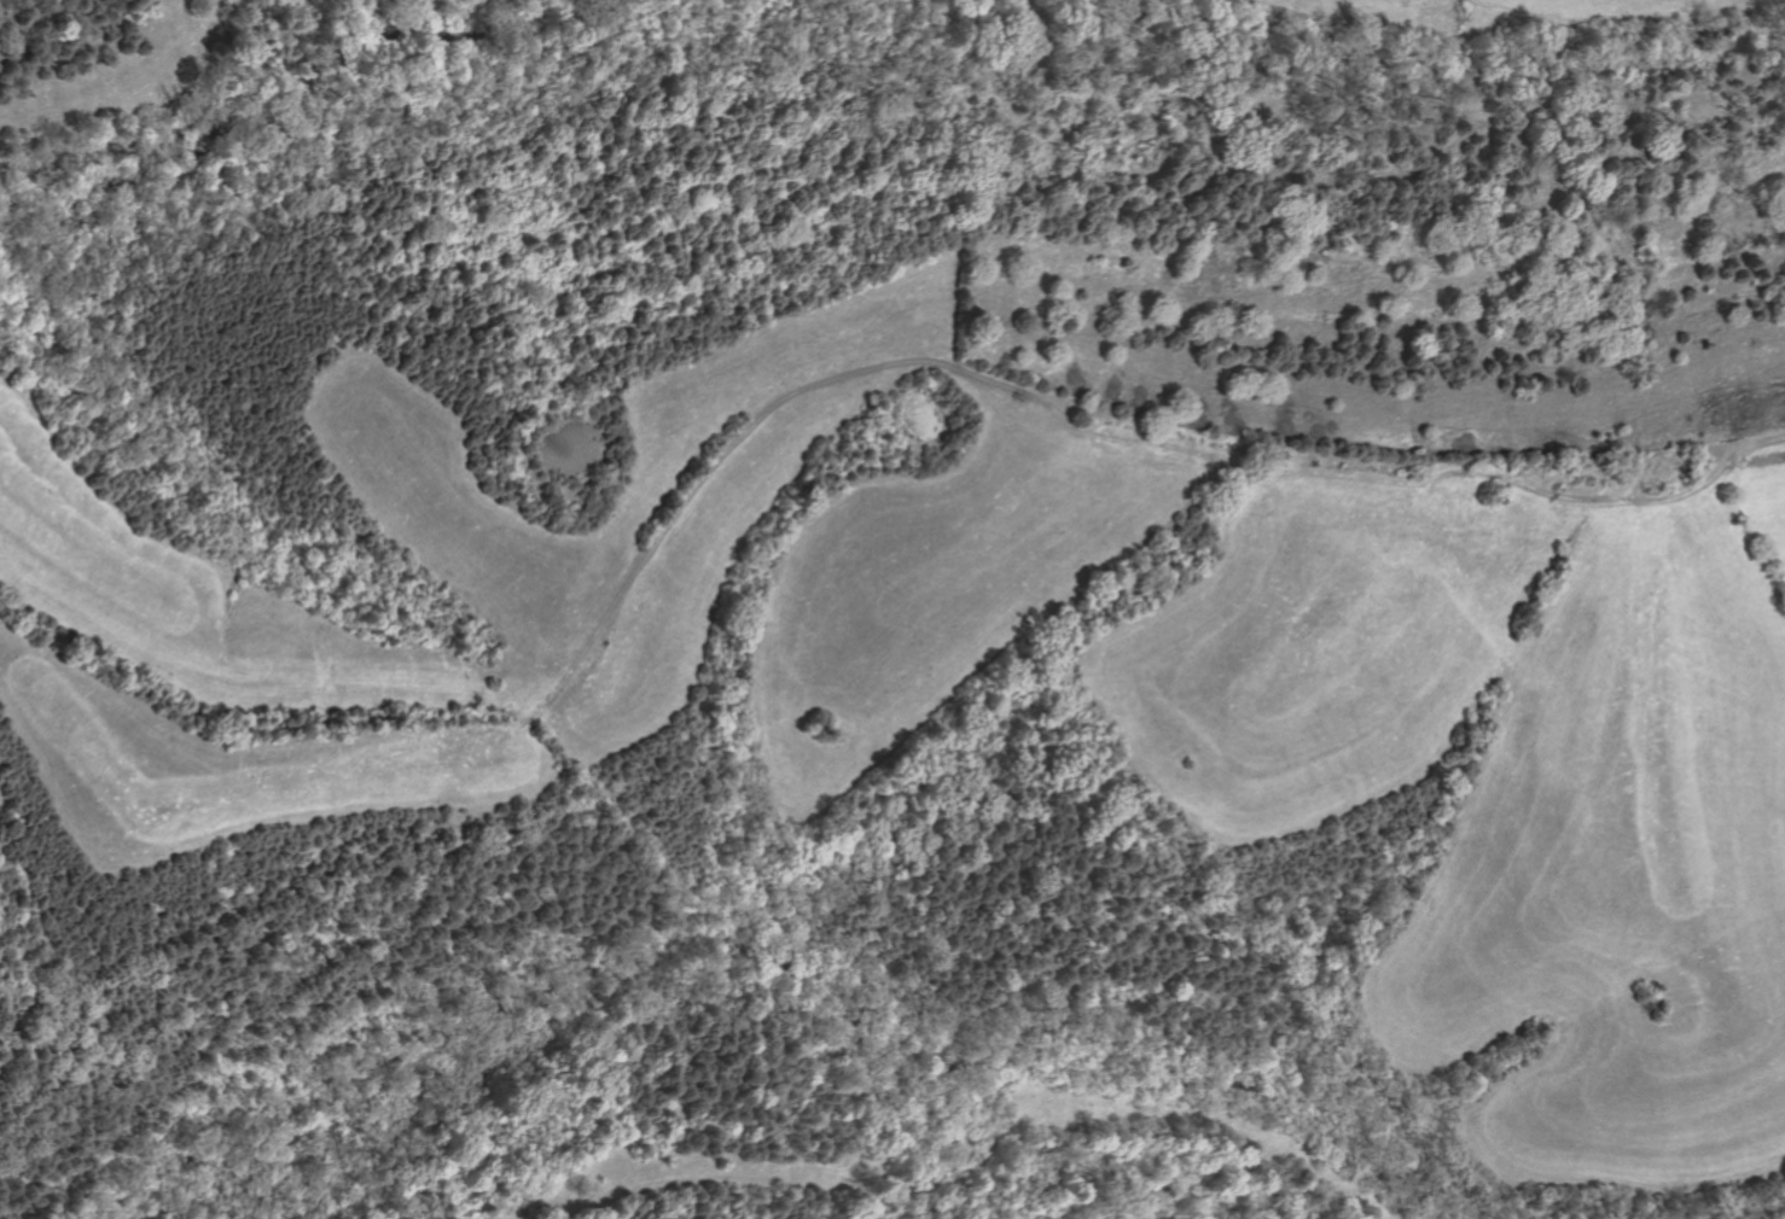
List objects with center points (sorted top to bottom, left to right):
road: (1649, 502)

